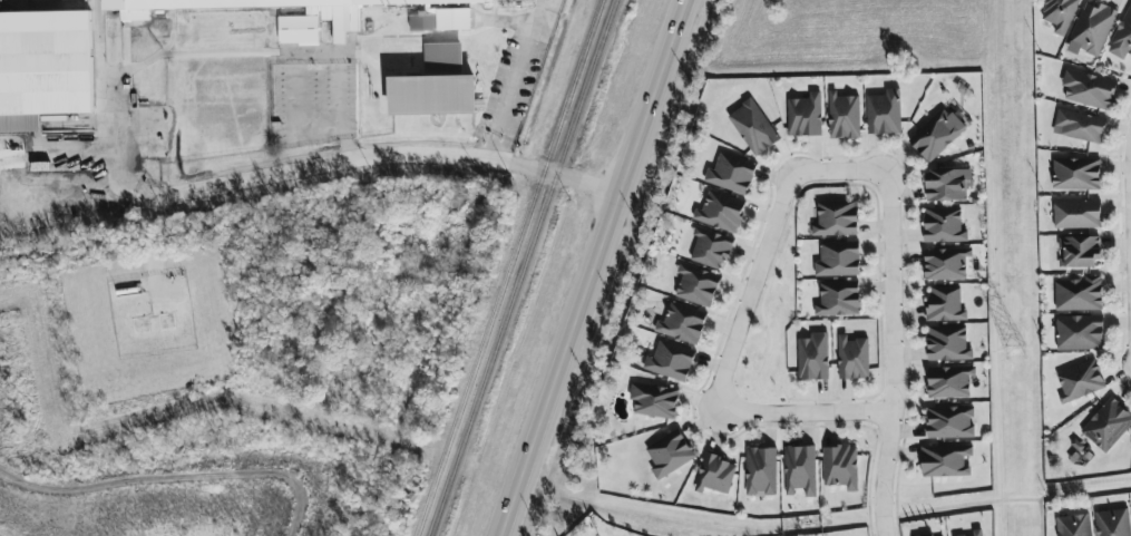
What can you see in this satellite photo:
building: (322, 13)
building: (1059, 14)
building: (1091, 30)
building: (1122, 38)
building: (43, 68)
building: (436, 86)
building: (1089, 90)
building: (884, 114)
building: (805, 116)
road: (339, 117)
road: (498, 117)
building: (844, 117)
road: (293, 123)
building: (1079, 127)
building: (752, 128)
building: (936, 135)
road: (1130, 166)
road: (836, 169)
building: (731, 174)
building: (1075, 175)
road: (274, 178)
building: (947, 185)
building: (720, 212)
building: (1076, 215)
building: (836, 220)
building: (944, 226)
building: (710, 248)
building: (1079, 252)
building: (838, 260)
building: (946, 264)
railway: (508, 267)
railway: (521, 267)
road: (595, 267)
building: (696, 285)
road: (752, 292)
building: (1079, 294)
building: (838, 300)
building: (945, 304)
building: (682, 323)
building: (1079, 333)
building: (947, 344)
road: (894, 352)
power tower: (1014, 352)
building: (812, 358)
building: (852, 359)
building: (671, 361)
building: (1080, 381)
building: (949, 382)
building: (654, 401)
road: (808, 413)
building: (948, 422)
building: (1108, 426)
building: (669, 455)
building: (945, 461)
building: (840, 467)
building: (800, 470)
building: (760, 471)
building: (714, 475)
road: (1066, 486)
road: (961, 506)
building: (1112, 523)
building: (1073, 526)
building: (977, 533)

